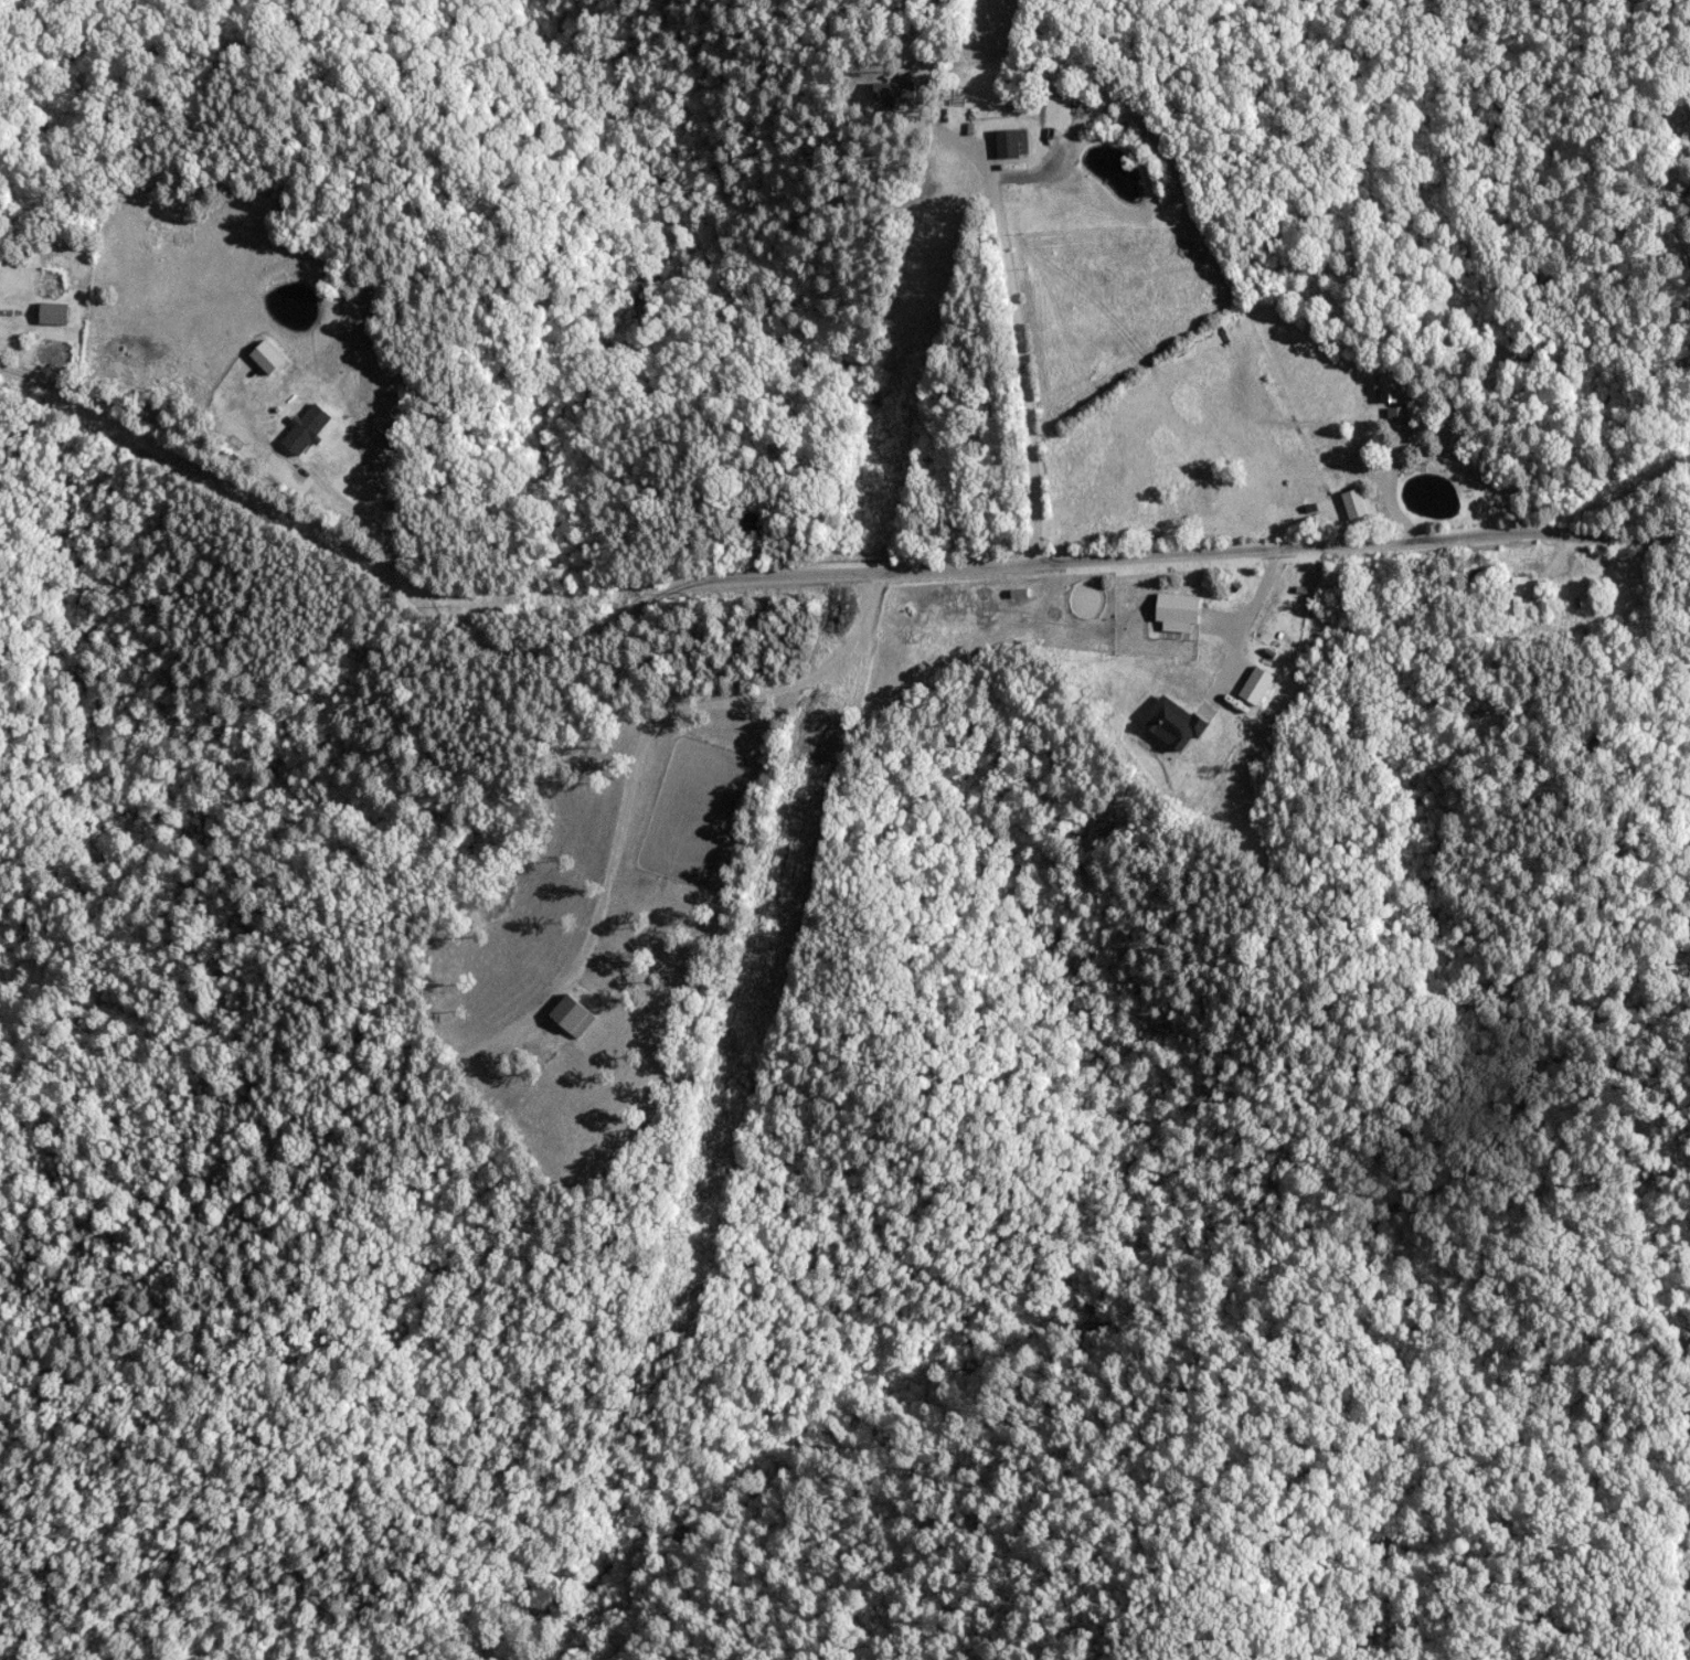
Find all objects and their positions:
building: (892, 93)
power tower: (972, 95)
building: (1009, 141)
building: (51, 312)
road: (1022, 360)
building: (1388, 387)
building: (1395, 415)
building: (304, 428)
building: (1352, 503)
road: (797, 573)
building: (1518, 593)
building: (1175, 610)
power tower: (844, 618)
building: (1254, 685)
building: (1170, 723)
power tower: (765, 932)

